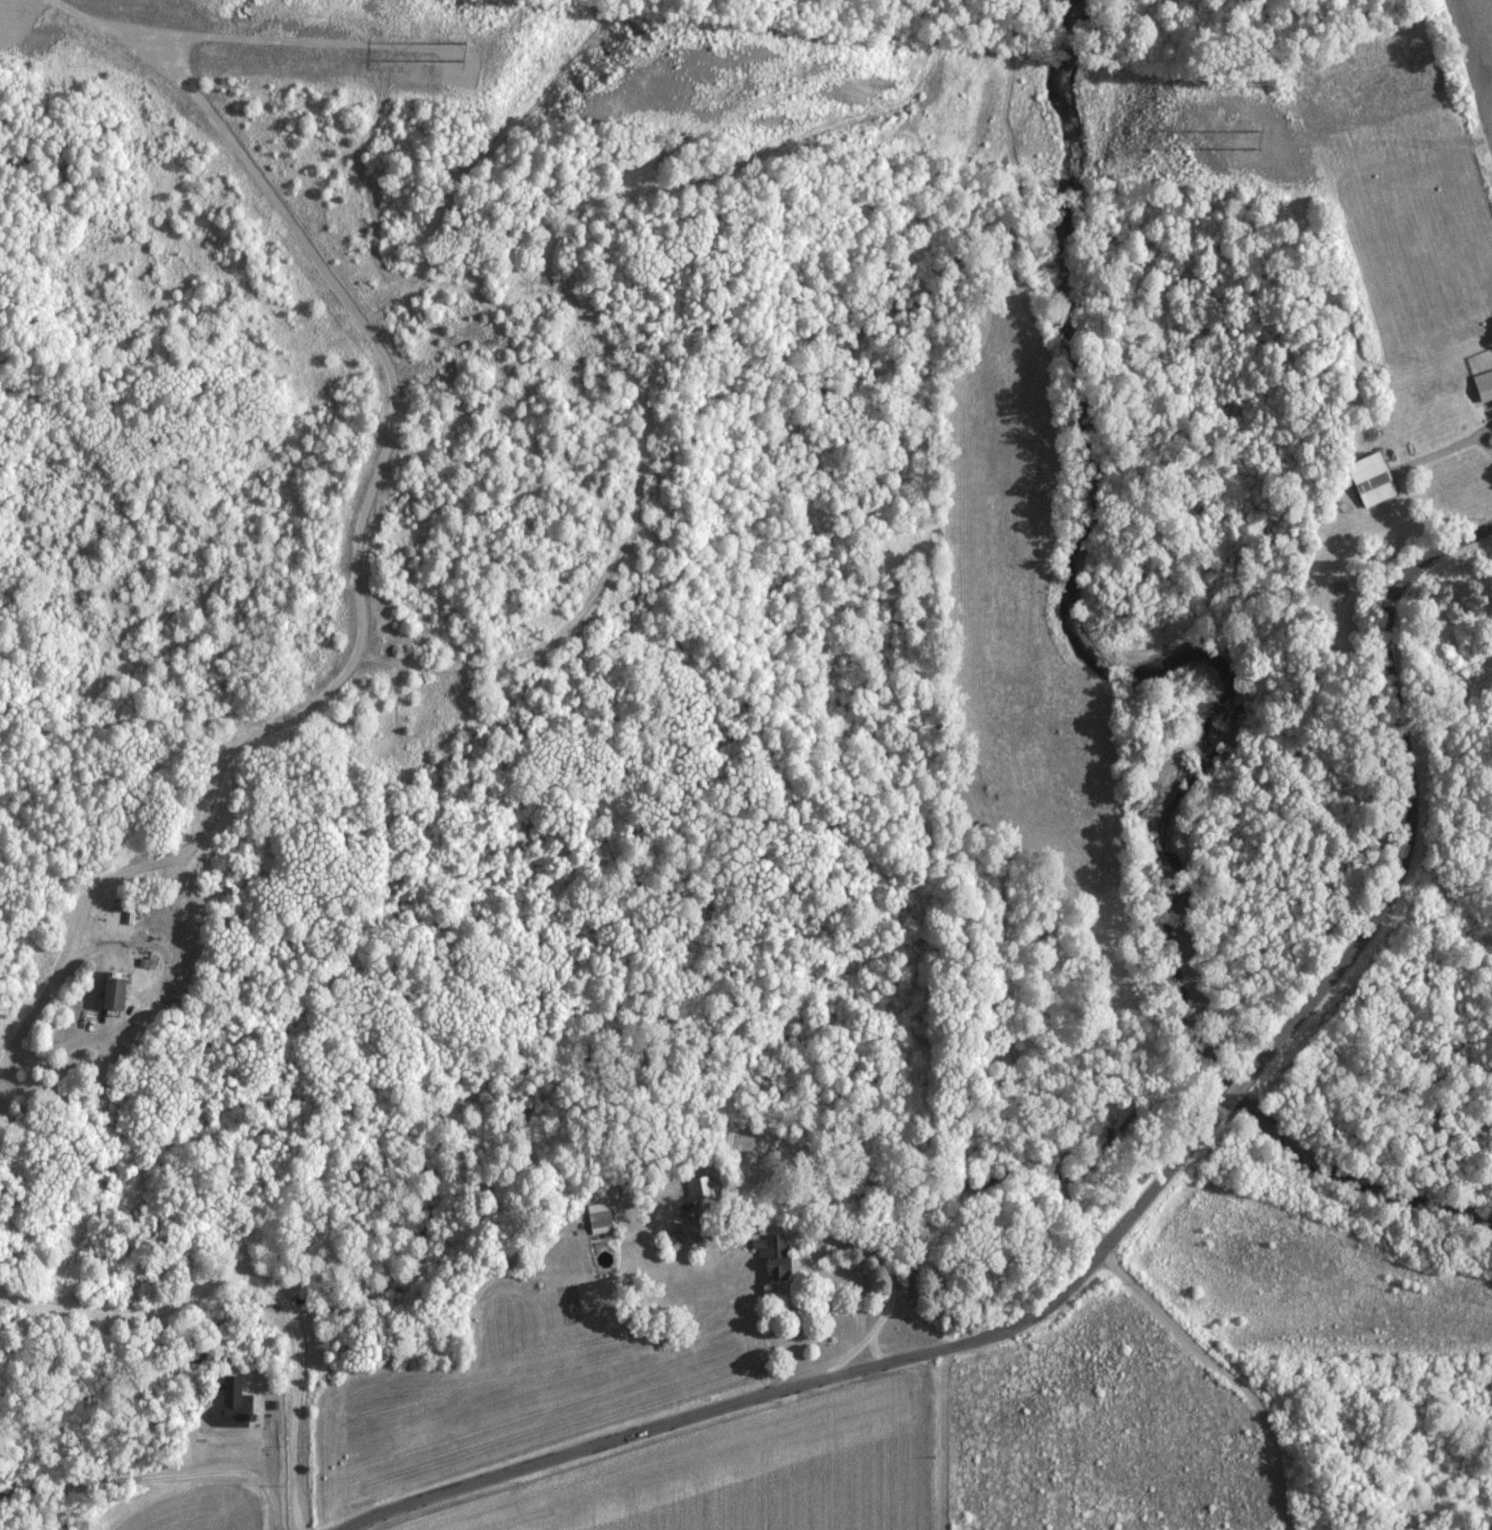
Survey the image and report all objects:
power tower: (1255, 137)
road: (1451, 446)
building: (107, 992)
road: (38, 1006)
building: (698, 1187)
building: (598, 1216)
road: (1124, 1225)
road: (875, 1264)
road: (258, 1277)
road: (887, 1313)
road: (864, 1342)
building: (237, 1402)
road: (224, 1528)

